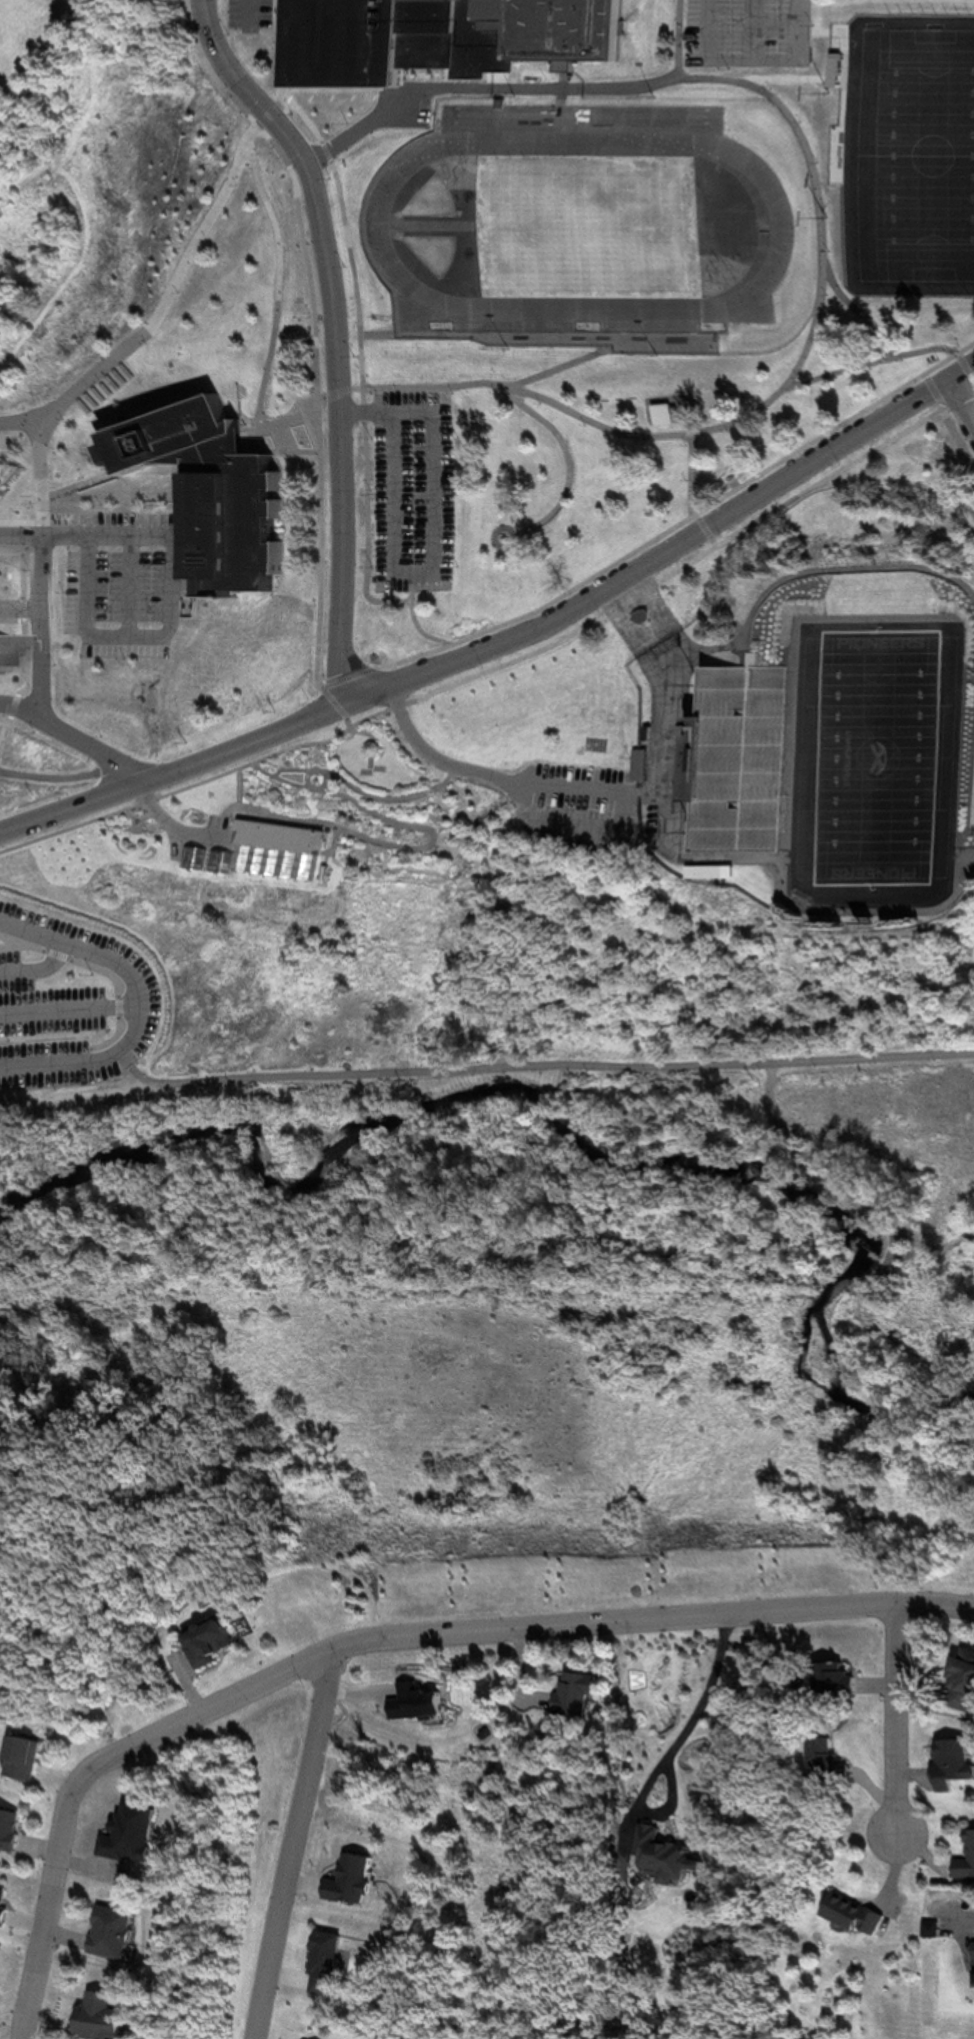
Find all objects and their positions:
park: (20, 21)
building: (447, 26)
road: (763, 30)
parking lot: (754, 33)
road: (761, 60)
road: (233, 70)
road: (570, 81)
road: (483, 87)
park: (912, 152)
park: (446, 201)
track: (434, 227)
road: (88, 249)
park: (448, 252)
road: (871, 311)
road: (157, 331)
road: (543, 338)
road: (274, 347)
road: (320, 351)
road: (869, 365)
road: (968, 369)
road: (570, 371)
road: (364, 372)
road: (789, 392)
road: (959, 407)
road: (338, 408)
road: (364, 413)
road: (33, 416)
building: (664, 416)
road: (947, 421)
road: (320, 433)
road: (576, 467)
road: (112, 487)
parking lot: (412, 491)
road: (691, 494)
building: (221, 496)
road: (18, 501)
road: (191, 506)
road: (43, 536)
road: (656, 538)
road: (501, 546)
road: (435, 569)
parking lot: (120, 583)
road: (127, 587)
road: (18, 608)
road: (414, 617)
road: (650, 630)
road: (165, 632)
road: (738, 640)
road: (508, 642)
road: (747, 649)
building: (9, 650)
road: (27, 655)
road: (508, 664)
road: (18, 704)
road: (60, 732)
road: (430, 754)
building: (733, 758)
stadium: (841, 760)
park: (882, 760)
parking lot: (579, 806)
road: (629, 829)
parking lot: (192, 845)
building: (274, 854)
road: (825, 912)
road: (15, 948)
road: (36, 970)
road: (105, 972)
parking lot: (73, 1003)
road: (138, 1006)
road: (68, 1011)
road: (58, 1038)
road: (549, 1069)
road: (61, 1096)
road: (827, 1178)
park: (532, 1282)
road: (381, 1640)
building: (215, 1643)
building: (965, 1674)
building: (847, 1682)
building: (579, 1693)
building: (426, 1702)
road: (898, 1720)
building: (27, 1758)
building: (832, 1764)
building: (956, 1764)
building: (11, 1829)
building: (134, 1834)
road: (302, 1845)
building: (667, 1859)
building: (967, 1865)
building: (4, 1904)
building: (861, 1916)
road: (964, 1922)
building: (114, 1933)
building: (108, 2018)

